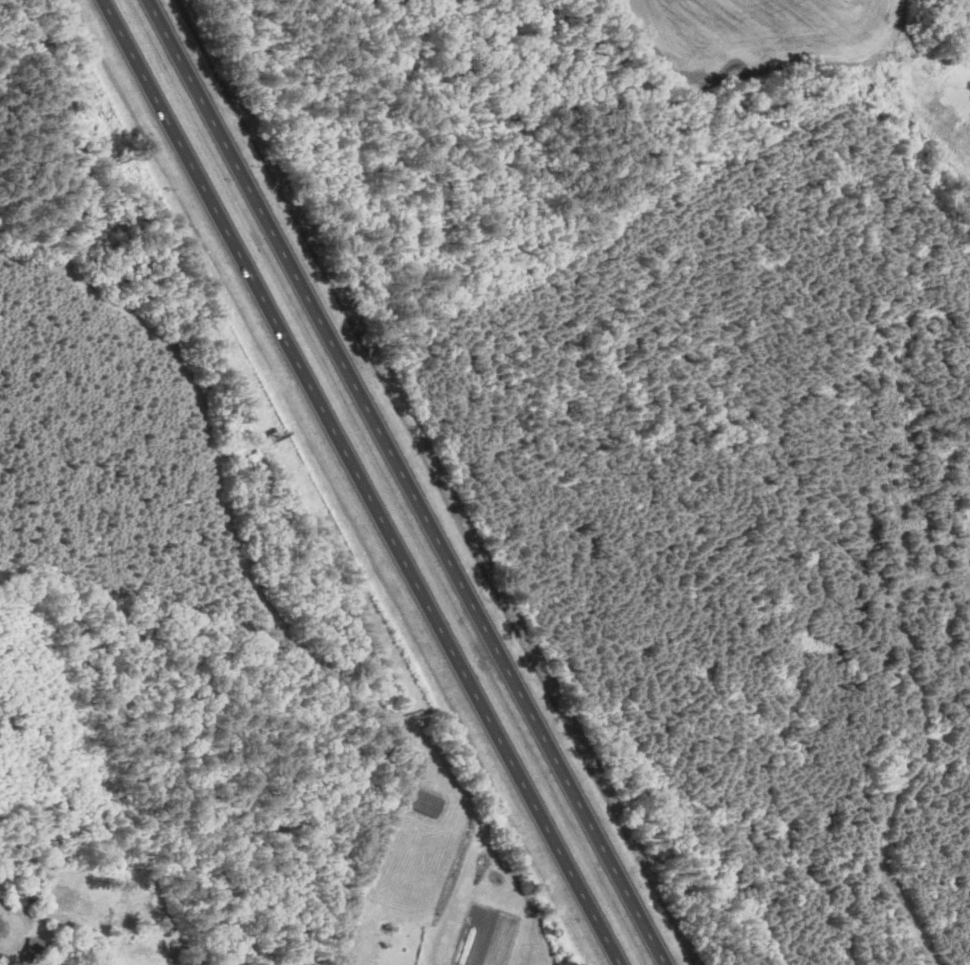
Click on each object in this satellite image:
building: (279, 430)
road: (361, 482)
road: (407, 482)
building: (426, 803)
building: (35, 952)

